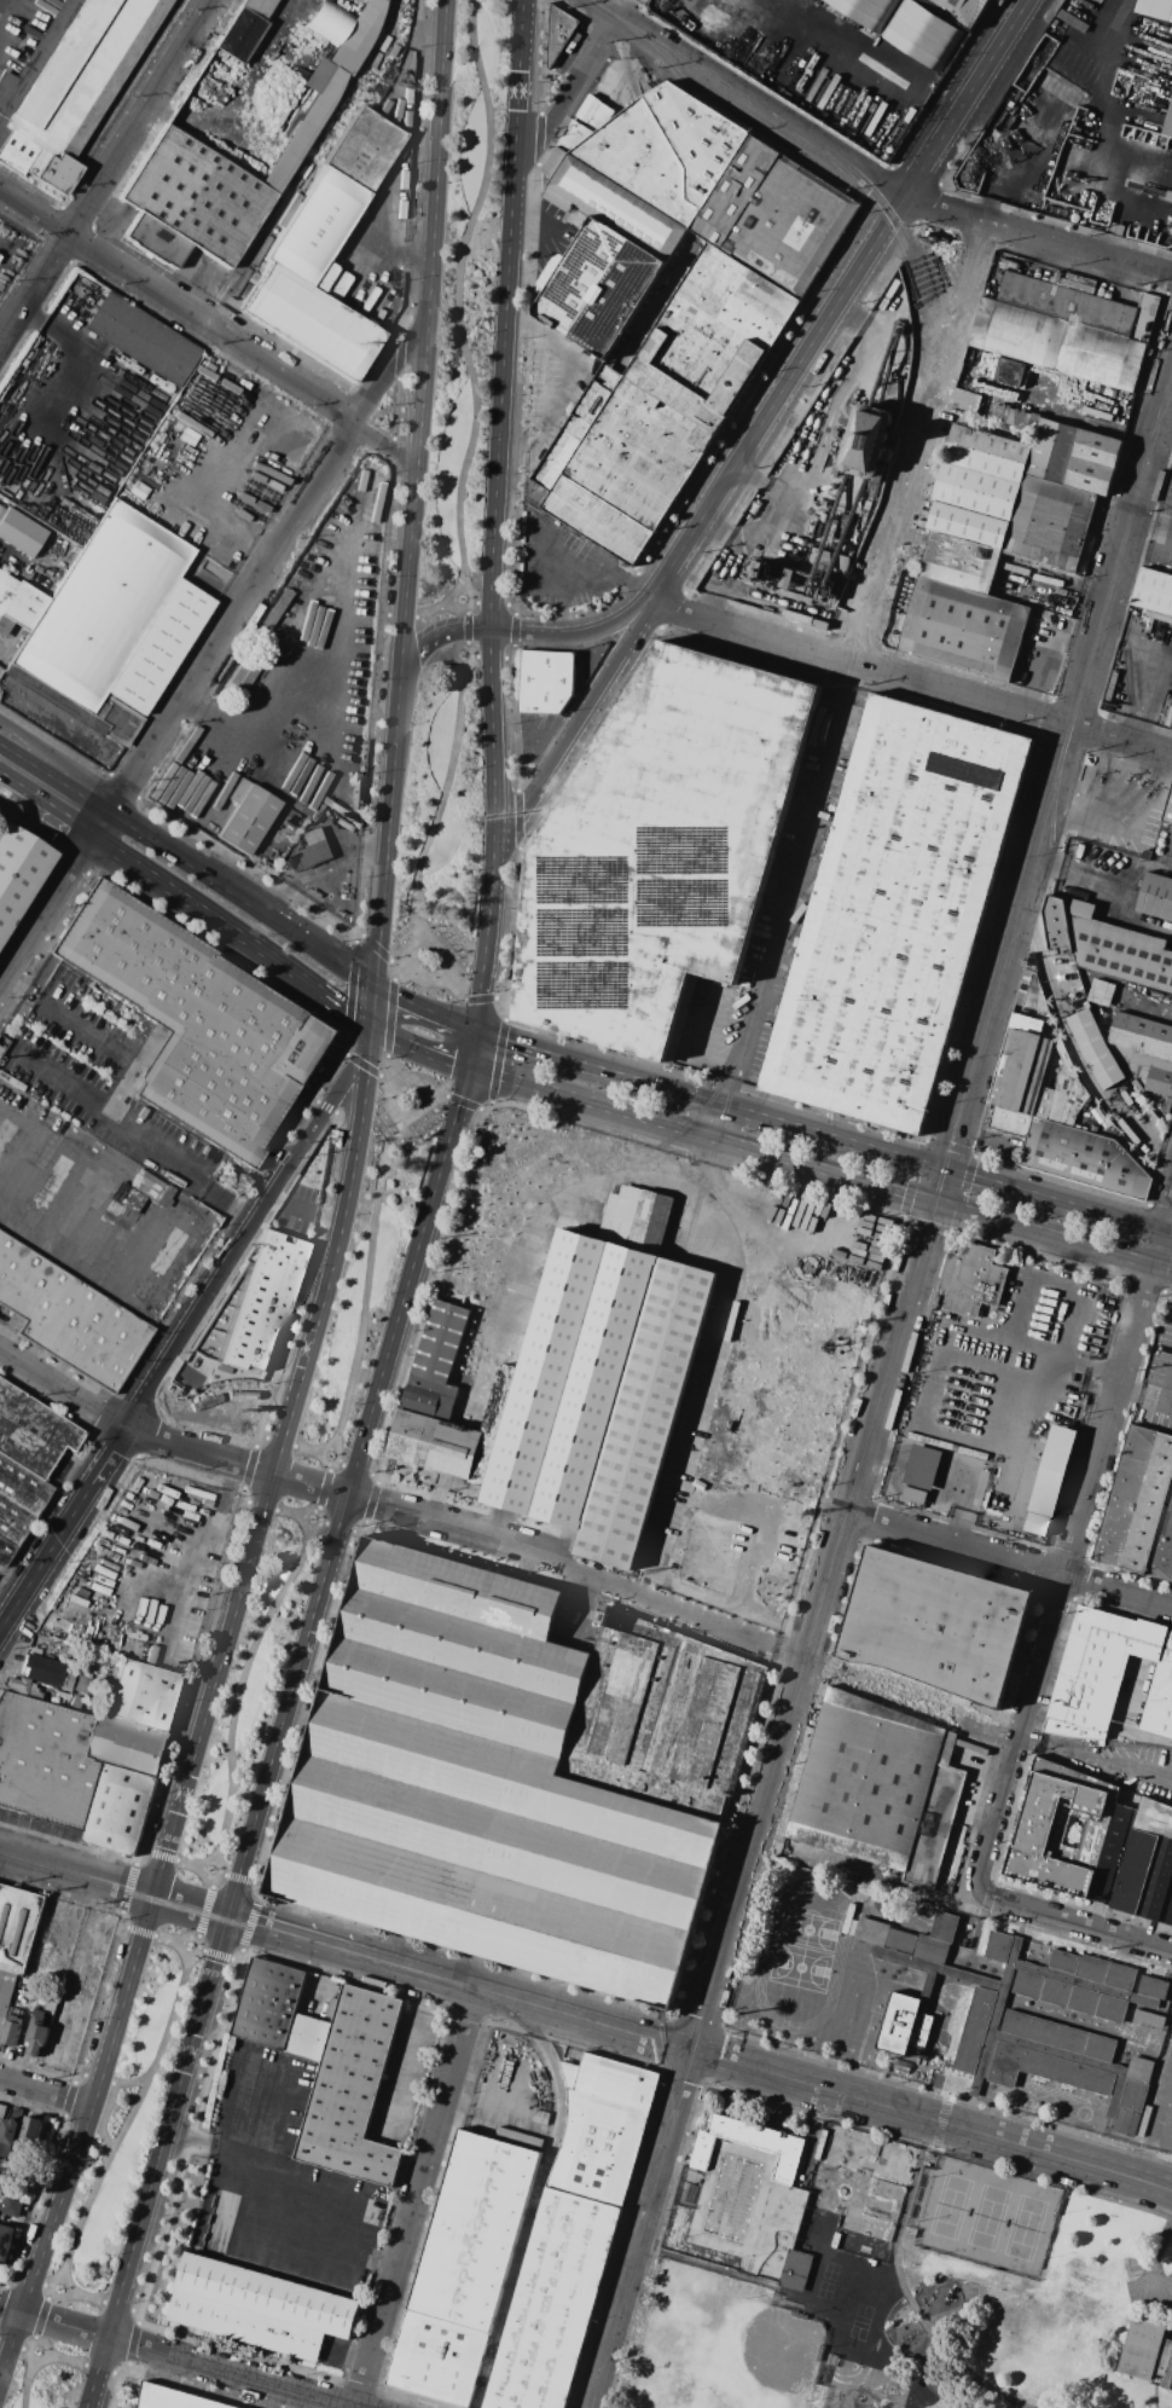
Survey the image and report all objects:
road: (1025, 2)
building: (257, 6)
building: (1155, 8)
road: (295, 10)
road: (621, 10)
building: (959, 10)
building: (1073, 21)
building: (1054, 23)
road: (1104, 25)
building: (905, 27)
road: (10, 29)
building: (239, 34)
building: (558, 34)
building: (356, 36)
road: (988, 60)
road: (877, 63)
building: (317, 75)
building: (69, 83)
road: (523, 87)
road: (567, 97)
railway: (706, 97)
railway: (758, 108)
building: (1168, 123)
building: (304, 128)
building: (364, 150)
building: (665, 151)
road: (1013, 172)
road: (110, 174)
road: (863, 175)
building: (1101, 201)
building: (190, 202)
building: (609, 204)
building: (773, 216)
road: (106, 226)
building: (315, 226)
road: (533, 226)
building: (1116, 228)
road: (377, 244)
road: (0, 251)
building: (928, 256)
building: (330, 282)
building: (598, 288)
road: (458, 294)
road: (176, 303)
building: (1067, 303)
park: (466, 317)
building: (1144, 317)
building: (309, 322)
road: (5, 330)
road: (427, 330)
road: (53, 331)
building: (143, 338)
building: (712, 338)
building: (1057, 343)
road: (803, 355)
road: (388, 371)
building: (1010, 371)
road: (569, 380)
railway: (1161, 410)
building: (1016, 418)
building: (866, 441)
silo: (866, 441)
road: (922, 442)
road: (384, 444)
building: (987, 452)
building: (1073, 457)
road: (796, 459)
building: (620, 463)
road: (756, 477)
building: (976, 491)
road: (494, 508)
building: (818, 509)
building: (1, 510)
road: (1150, 522)
building: (1049, 523)
building: (968, 525)
road: (719, 529)
building: (19, 533)
road: (4, 555)
parking lot: (562, 562)
building: (959, 562)
road: (557, 566)
building: (791, 578)
road: (631, 583)
building: (1154, 595)
road: (650, 598)
road: (561, 602)
building: (18, 604)
building: (101, 604)
road: (492, 604)
road: (463, 609)
road: (673, 609)
road: (430, 613)
road: (468, 627)
building: (963, 629)
road: (572, 632)
road: (441, 633)
road: (1056, 641)
road: (464, 647)
road: (436, 652)
road: (492, 658)
building: (150, 661)
road: (1154, 667)
building: (243, 672)
building: (546, 681)
road: (934, 687)
road: (176, 707)
building: (1171, 725)
road: (578, 727)
road: (265, 746)
road: (58, 763)
road: (8, 777)
road: (516, 777)
road: (54, 778)
road: (2, 788)
building: (238, 789)
road: (2, 794)
road: (1114, 804)
road: (441, 806)
building: (1167, 808)
road: (59, 809)
building: (249, 818)
road: (388, 822)
road: (46, 823)
park: (441, 832)
building: (315, 837)
building: (658, 849)
building: (312, 855)
building: (18, 870)
road: (793, 887)
building: (1155, 896)
road: (243, 898)
road: (201, 910)
building: (894, 913)
building: (1057, 925)
building: (1118, 950)
road: (391, 961)
road: (405, 973)
road: (437, 979)
traffic signals: (375, 985)
building: (1023, 988)
building: (1101, 992)
building: (1035, 995)
road: (468, 1000)
building: (1167, 1000)
road: (372, 1009)
road: (422, 1009)
road: (336, 1011)
building: (199, 1021)
traffic signals: (472, 1030)
road: (388, 1031)
traffic signals: (371, 1035)
building: (1141, 1035)
road: (517, 1047)
road: (692, 1047)
building: (1095, 1048)
road: (416, 1054)
building: (1021, 1065)
building: (1144, 1069)
traffic signals: (464, 1071)
road: (375, 1073)
road: (54, 1075)
parking lot: (101, 1079)
building: (1066, 1092)
building: (1044, 1095)
road: (457, 1099)
road: (103, 1101)
road: (395, 1112)
building: (1010, 1121)
road: (725, 1125)
road: (698, 1134)
road: (53, 1136)
road: (863, 1147)
building: (1083, 1158)
road: (634, 1170)
traffic signals: (944, 1171)
road: (439, 1173)
railway: (578, 1180)
road: (94, 1187)
building: (127, 1197)
traffic signals: (934, 1202)
road: (306, 1209)
road: (88, 1210)
road: (246, 1229)
road: (1052, 1235)
road: (1167, 1235)
park: (371, 1258)
building: (970, 1279)
road: (366, 1280)
road: (129, 1287)
building: (261, 1299)
building: (68, 1318)
railway: (808, 1318)
railway: (1, 1333)
road: (1031, 1347)
road: (180, 1370)
building: (575, 1380)
railway: (881, 1388)
road: (881, 1388)
road: (63, 1390)
railway: (725, 1390)
road: (708, 1393)
road: (1168, 1394)
road: (1168, 1405)
railway: (137, 1407)
railway: (112, 1418)
building: (31, 1431)
road: (301, 1447)
road: (199, 1453)
road: (71, 1466)
road: (326, 1466)
building: (921, 1466)
road: (273, 1469)
road: (358, 1469)
building: (1050, 1470)
road: (99, 1474)
road: (312, 1486)
building: (22, 1487)
road: (323, 1489)
building: (912, 1494)
road: (185, 1505)
building: (1139, 1507)
road: (282, 1513)
building: (12, 1521)
road: (319, 1521)
road: (457, 1528)
road: (340, 1529)
road: (201, 1547)
road: (1074, 1547)
building: (5, 1550)
road: (1008, 1561)
parking lot: (146, 1574)
road: (35, 1575)
road: (13, 1578)
road: (575, 1607)
road: (681, 1613)
building: (934, 1625)
building: (42, 1669)
building: (1108, 1673)
building: (80, 1684)
building: (21, 1686)
road: (239, 1689)
building: (145, 1695)
park: (250, 1695)
road: (291, 1708)
road: (984, 1732)
building: (126, 1744)
road: (969, 1747)
building: (946, 1748)
road: (1095, 1758)
building: (46, 1761)
building: (515, 1777)
building: (865, 1779)
road: (192, 1790)
building: (120, 1810)
building: (935, 1825)
building: (1060, 1836)
building: (1137, 1862)
building: (870, 1866)
road: (836, 1869)
road: (76, 1875)
road: (232, 1877)
road: (209, 1883)
building: (872, 1905)
road: (191, 1910)
road: (204, 1910)
building: (910, 1917)
road: (1073, 1923)
building: (18, 1926)
road: (161, 1937)
road: (199, 1950)
road: (210, 1955)
road: (320, 1980)
building: (6, 1993)
building: (268, 2003)
building: (330, 2009)
building: (1125, 2014)
building: (11, 2031)
building: (36, 2032)
building: (308, 2037)
road: (702, 2053)
building: (881, 2065)
building: (903, 2066)
railway: (672, 2067)
building: (919, 2067)
road: (401, 2076)
road: (135, 2080)
building: (352, 2089)
road: (47, 2091)
road: (419, 2105)
road: (468, 2105)
road: (106, 2106)
road: (489, 2107)
building: (2, 2111)
road: (129, 2119)
building: (521, 2124)
park: (126, 2125)
building: (602, 2126)
building: (28, 2136)
building: (8, 2138)
road: (106, 2140)
building: (745, 2142)
road: (80, 2152)
road: (162, 2165)
parking lot: (279, 2182)
park: (857, 2194)
road: (418, 2198)
building: (12, 2202)
park: (988, 2217)
road: (271, 2222)
building: (475, 2229)
road: (1162, 2240)
building: (5, 2241)
building: (794, 2269)
road: (1159, 2276)
park: (892, 2280)
road: (43, 2285)
parking lot: (1149, 2285)
road: (905, 2290)
road: (785, 2291)
road: (1144, 2293)
road: (57, 2300)
road: (97, 2300)
building: (552, 2302)
building: (259, 2308)
road: (40, 2319)
park: (724, 2348)
road: (348, 2349)
road: (29, 2350)
building: (1147, 2352)
road: (174, 2356)
building: (439, 2357)
road: (75, 2361)
park: (47, 2375)
road: (27, 2384)
park: (865, 2387)
building: (174, 2398)

